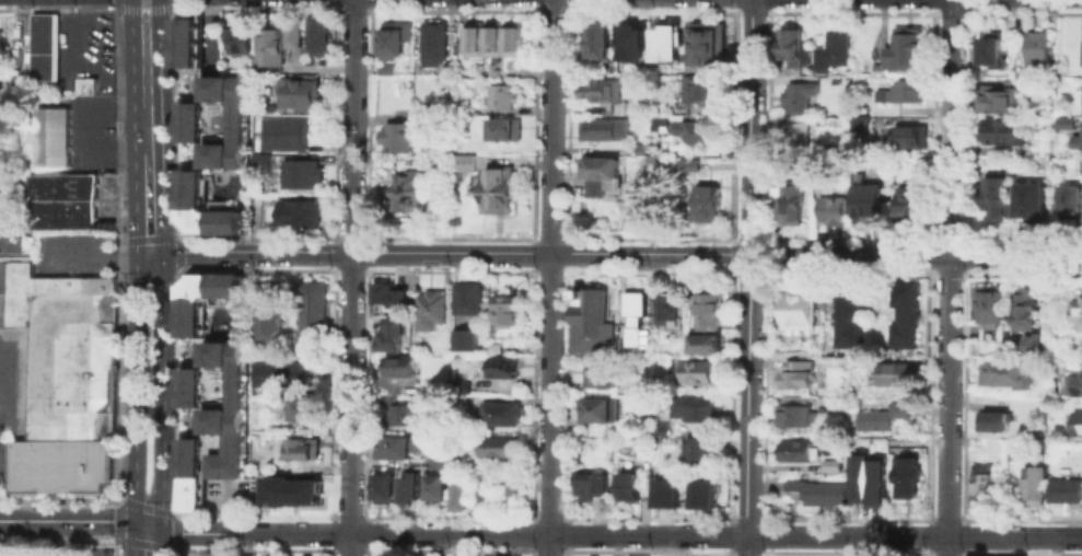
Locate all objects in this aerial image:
road: (566, 9)
road: (143, 11)
road: (932, 13)
road: (131, 30)
road: (158, 30)
building: (295, 36)
building: (318, 36)
road: (209, 37)
building: (187, 38)
building: (393, 38)
building: (493, 39)
building: (597, 39)
building: (632, 39)
building: (238, 40)
building: (432, 40)
building: (667, 40)
building: (705, 40)
building: (270, 43)
building: (43, 45)
building: (788, 45)
building: (1034, 46)
building: (830, 47)
building: (903, 48)
building: (987, 48)
building: (1080, 51)
building: (444, 65)
building: (381, 66)
building: (1003, 79)
building: (597, 83)
building: (85, 85)
building: (698, 86)
building: (903, 90)
building: (298, 91)
building: (500, 95)
building: (795, 95)
building: (1080, 96)
building: (992, 99)
road: (146, 104)
building: (214, 120)
building: (1061, 120)
building: (659, 121)
building: (856, 123)
building: (499, 128)
building: (601, 128)
building: (996, 129)
building: (700, 130)
building: (282, 131)
building: (905, 135)
building: (50, 136)
building: (396, 136)
building: (1077, 136)
building: (793, 137)
building: (637, 146)
building: (260, 160)
building: (463, 161)
building: (685, 163)
building: (597, 166)
building: (1079, 167)
building: (300, 173)
building: (253, 183)
building: (591, 186)
building: (607, 186)
building: (406, 189)
building: (495, 189)
building: (1068, 196)
building: (863, 197)
building: (993, 197)
building: (1025, 197)
building: (61, 199)
building: (703, 199)
road: (148, 201)
building: (633, 201)
building: (789, 201)
building: (906, 201)
building: (205, 207)
building: (829, 209)
building: (299, 212)
building: (11, 239)
road: (765, 239)
parking lot: (74, 252)
traffic signals: (150, 253)
road: (563, 253)
road: (615, 253)
traffic signals: (747, 253)
road: (96, 256)
road: (350, 266)
road: (747, 267)
road: (946, 267)
road: (547, 271)
road: (549, 277)
building: (388, 293)
building: (202, 296)
building: (472, 297)
building: (991, 301)
building: (665, 305)
building: (705, 306)
building: (429, 308)
building: (504, 308)
building: (1024, 308)
building: (311, 310)
building: (799, 310)
building: (1078, 312)
building: (632, 313)
building: (846, 314)
building: (903, 314)
building: (268, 322)
building: (591, 322)
building: (391, 333)
building: (464, 337)
building: (705, 343)
building: (1033, 343)
building: (63, 347)
building: (398, 364)
building: (499, 366)
building: (696, 371)
building: (1003, 372)
building: (276, 373)
building: (794, 373)
building: (894, 373)
building: (598, 375)
building: (1074, 382)
building: (456, 384)
road: (135, 386)
road: (161, 390)
building: (694, 406)
building: (302, 407)
building: (596, 408)
building: (499, 413)
building: (404, 414)
building: (793, 414)
building: (881, 415)
building: (211, 417)
building: (994, 420)
building: (1078, 422)
building: (317, 426)
building: (497, 443)
building: (395, 445)
building: (700, 447)
building: (300, 448)
building: (794, 449)
building: (440, 456)
building: (60, 464)
building: (827, 464)
building: (865, 475)
building: (904, 476)
building: (980, 483)
building: (1032, 484)
building: (589, 485)
building: (627, 486)
building: (383, 487)
building: (408, 487)
building: (437, 487)
building: (812, 488)
building: (1064, 488)
building: (289, 489)
building: (456, 490)
building: (701, 490)
building: (482, 491)
building: (663, 491)
building: (510, 493)
road: (223, 505)
road: (532, 517)
road: (926, 517)
road: (547, 518)
road: (562, 518)
road: (746, 519)
road: (67, 520)
traffic signals: (133, 524)
road: (147, 526)
traffic signals: (161, 530)
road: (620, 534)
road: (62, 535)
road: (133, 540)
road: (161, 543)
road: (348, 545)
road: (745, 545)
road: (945, 546)
parking lot: (59, 549)
road: (61, 551)
building: (221, 552)
road: (746, 553)

